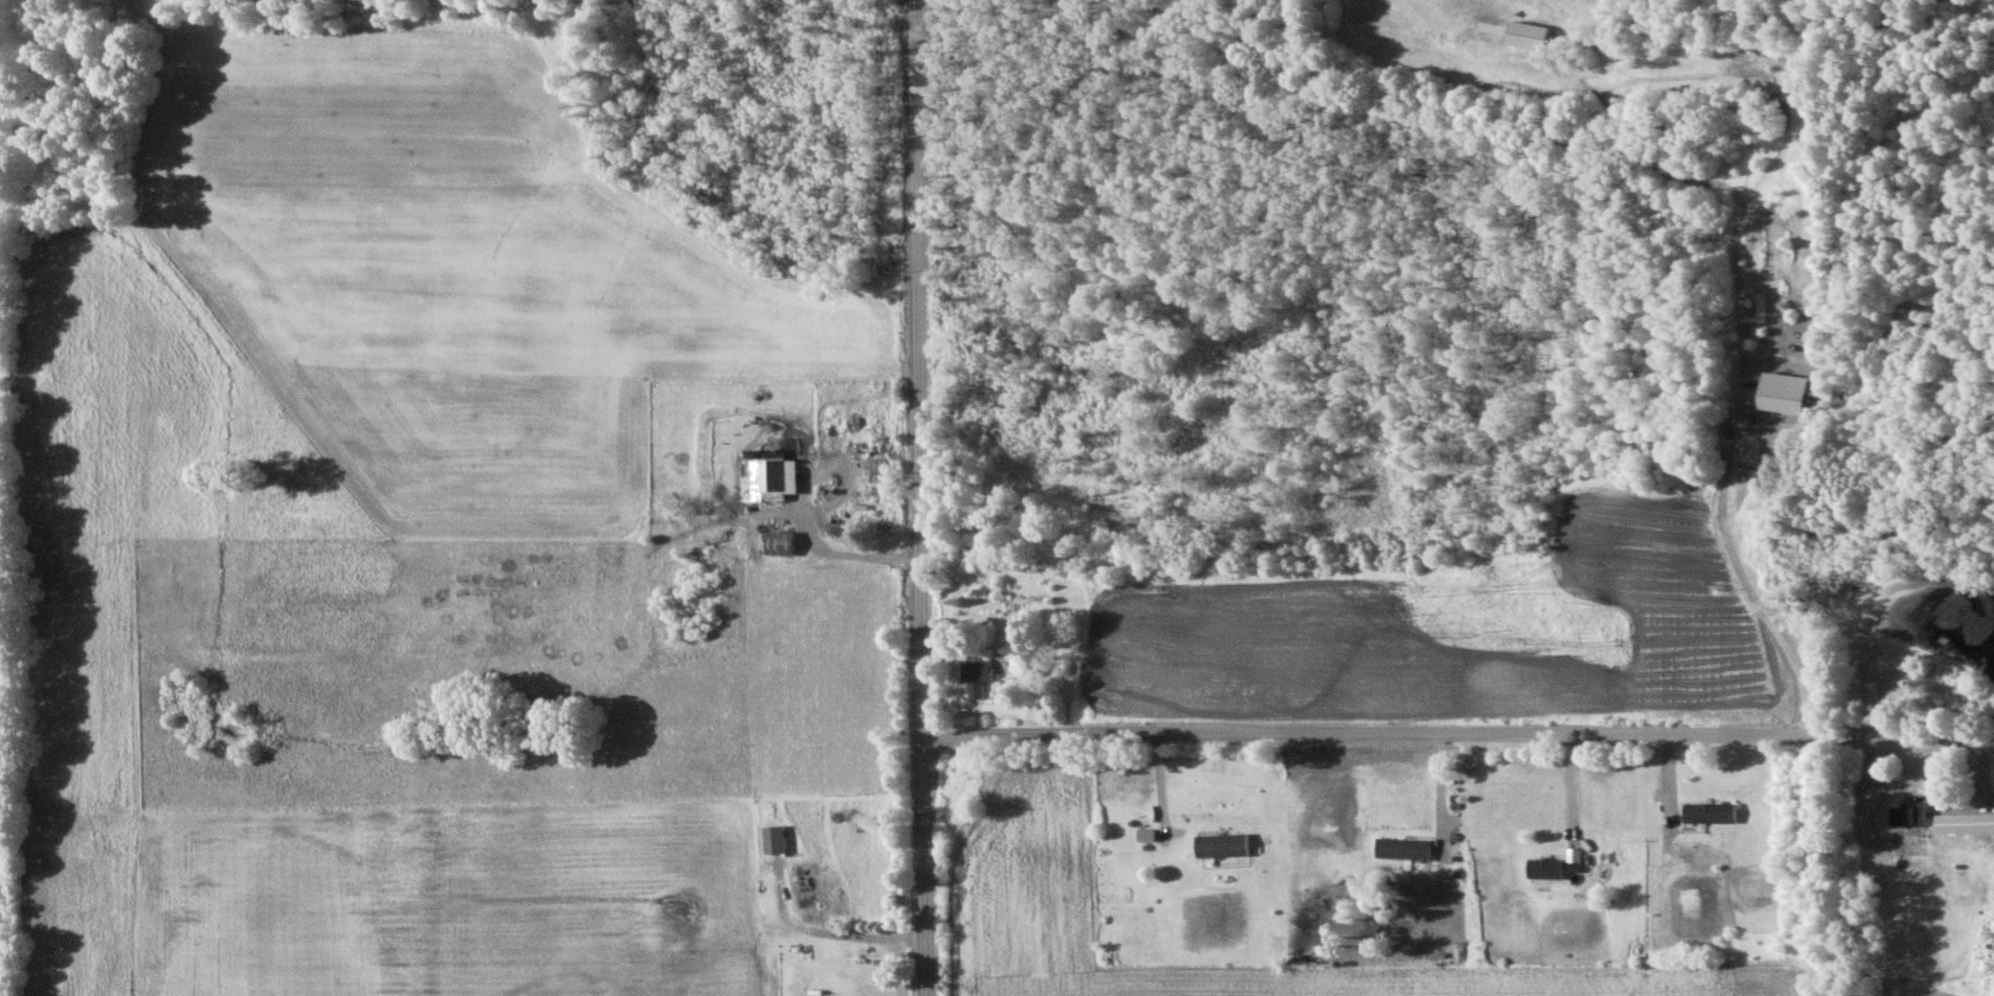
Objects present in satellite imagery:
building: (1535, 34)
road: (1740, 306)
building: (1789, 392)
building: (774, 480)
road: (918, 498)
building: (783, 543)
road: (845, 558)
building: (980, 676)
road: (1455, 734)
road: (1574, 799)
building: (1714, 813)
building: (1914, 814)
building: (1966, 823)
building: (1150, 835)
building: (778, 839)
building: (1225, 846)
building: (1407, 849)
building: (1576, 855)
building: (1551, 868)

